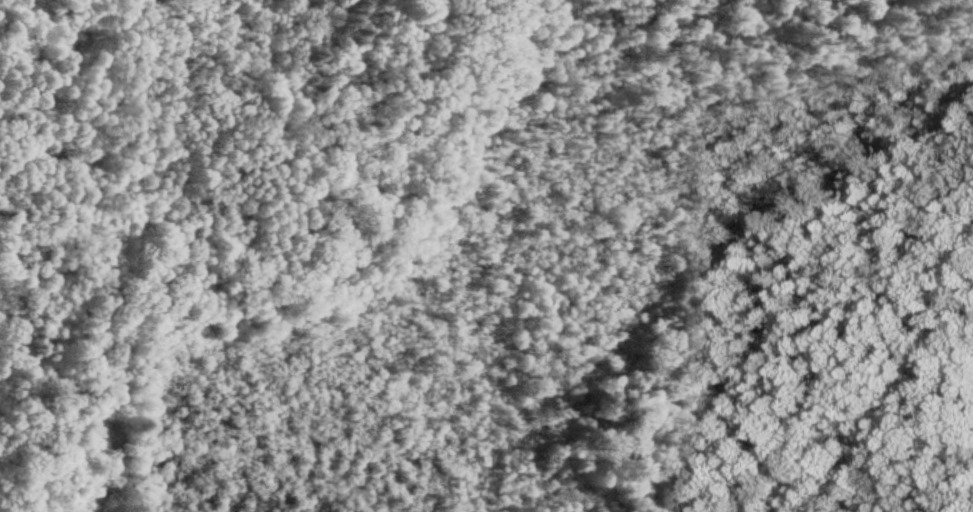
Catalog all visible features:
road: (921, 480)

